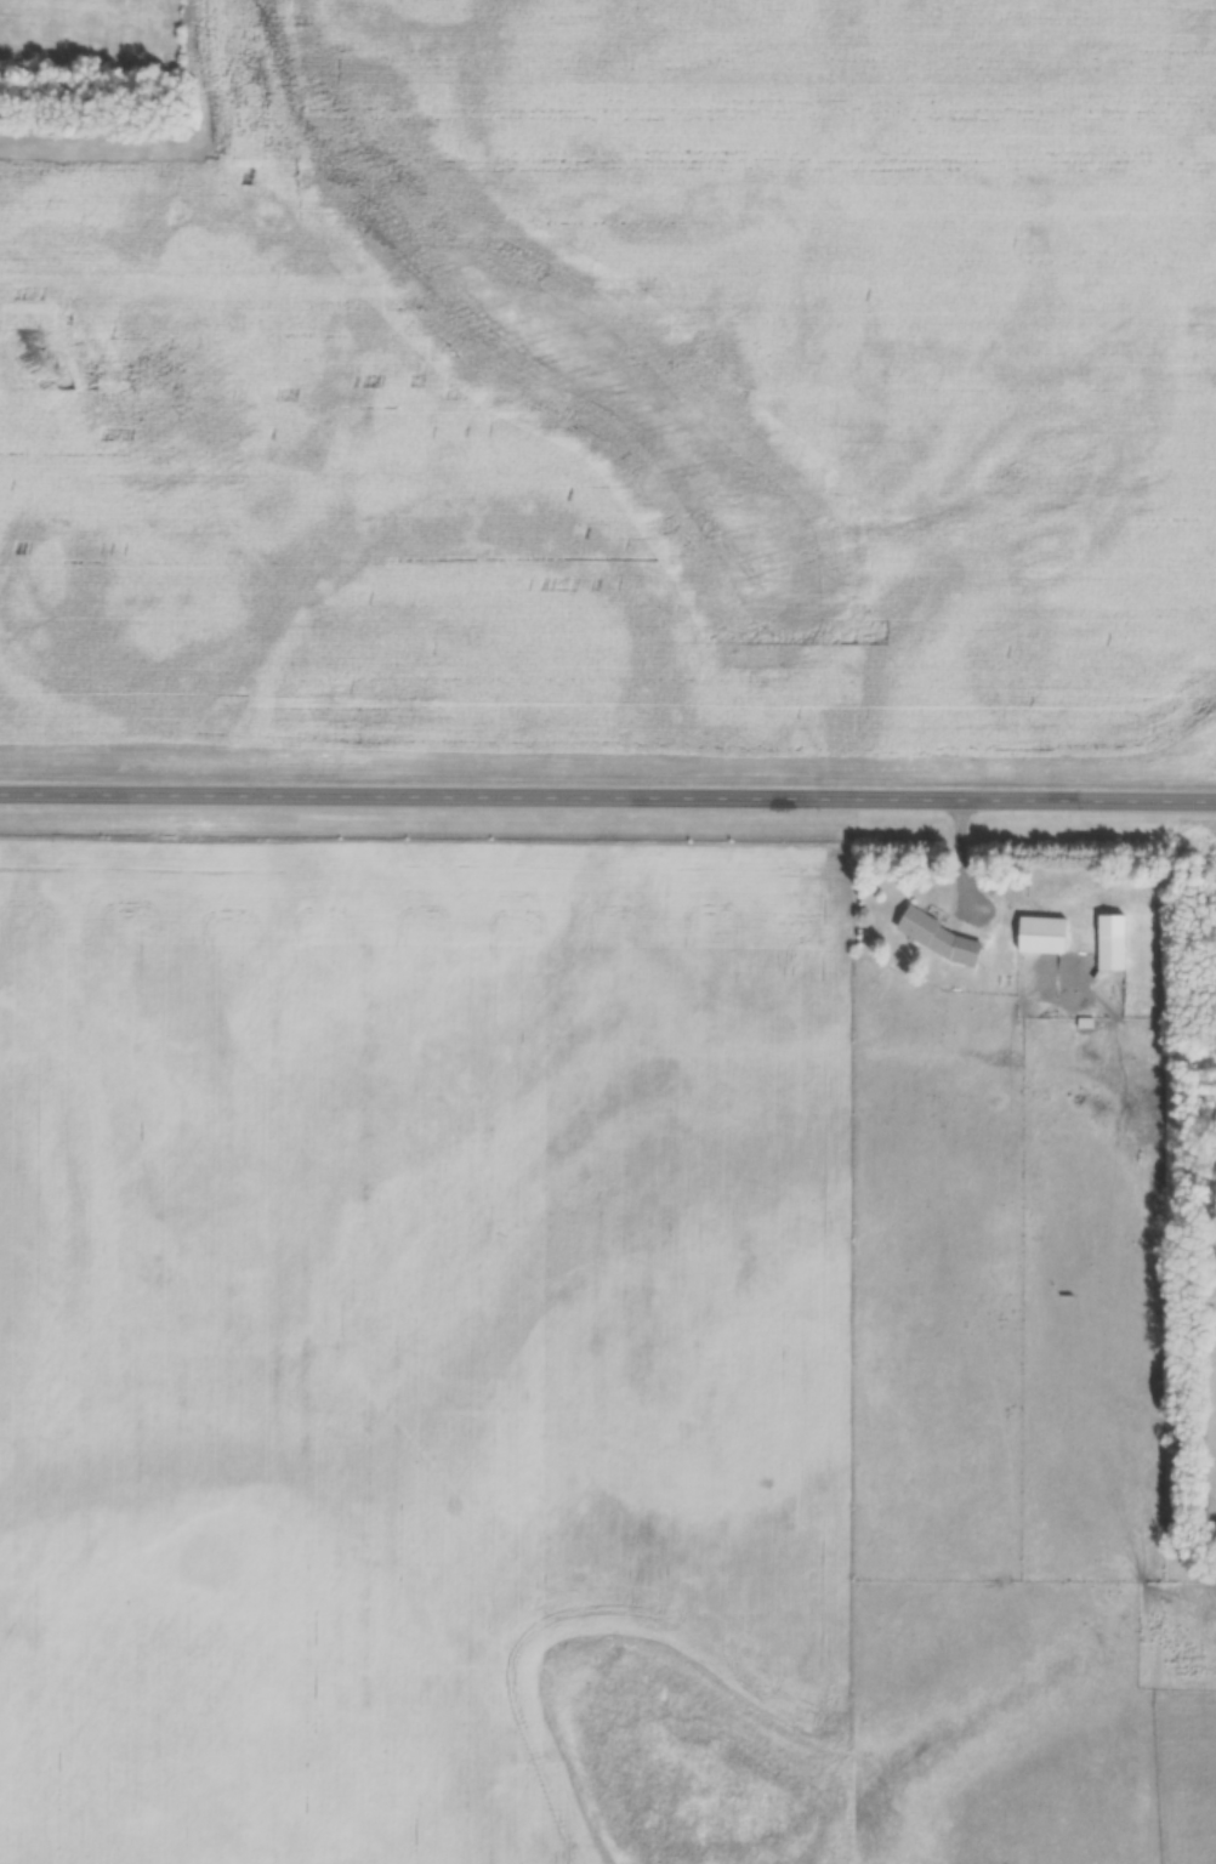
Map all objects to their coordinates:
road: (608, 797)
building: (1045, 934)
building: (943, 937)
building: (1113, 953)

